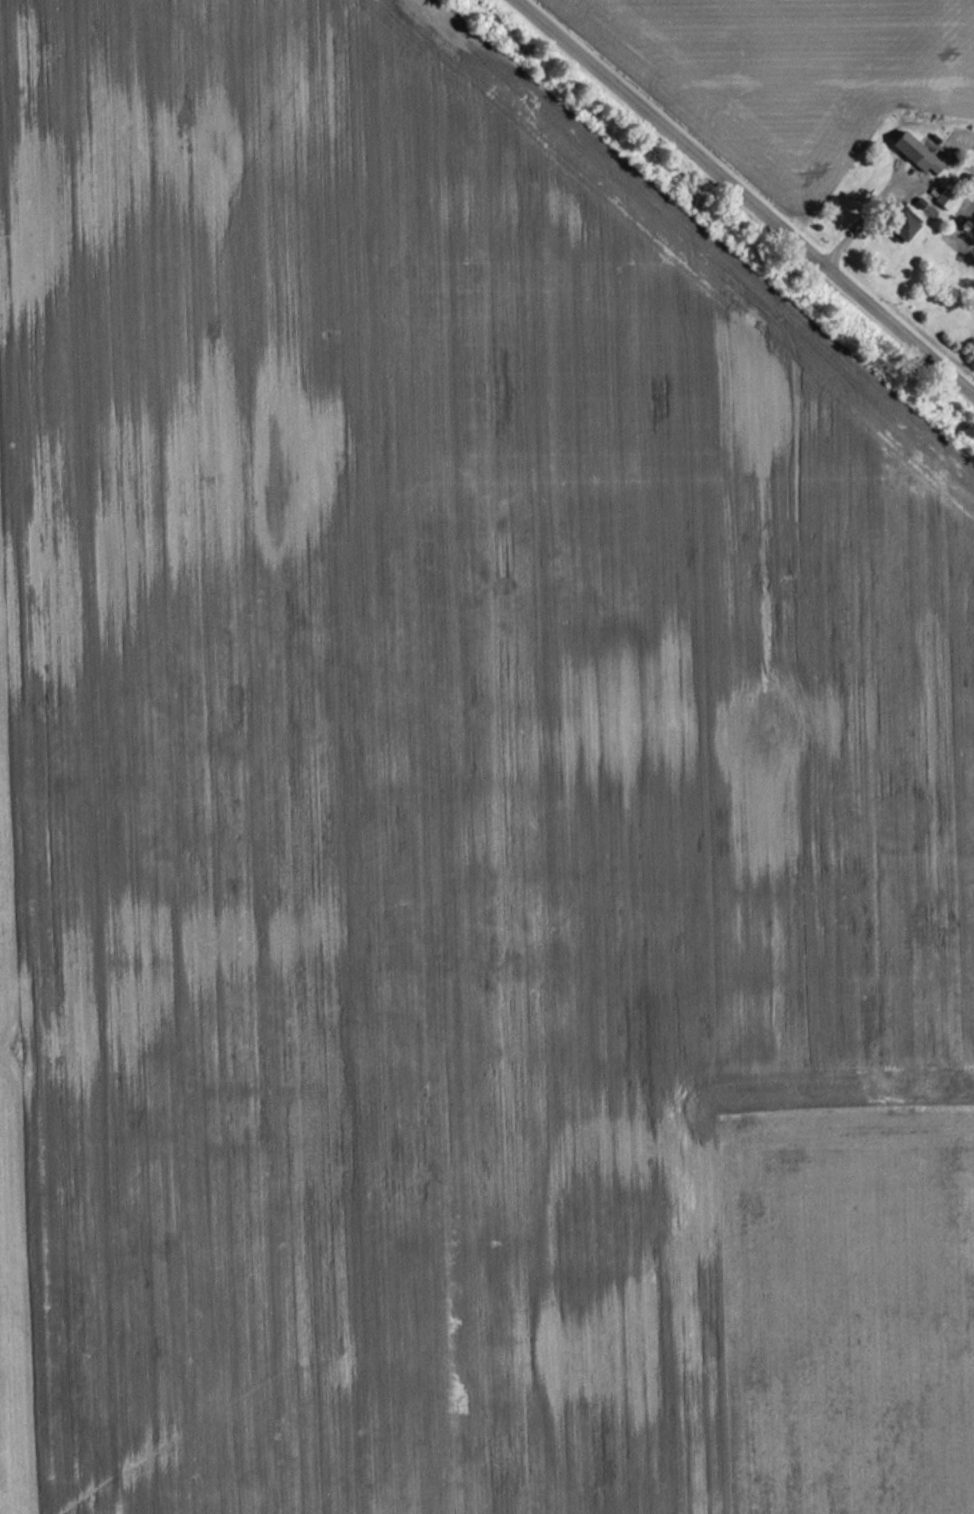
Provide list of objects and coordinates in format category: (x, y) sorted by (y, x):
crop: (795, 71)
building: (916, 153)
road: (745, 196)
road: (862, 217)
building: (903, 229)
railway: (709, 231)
crop: (430, 772)
crop: (9, 879)
crop: (841, 1305)

